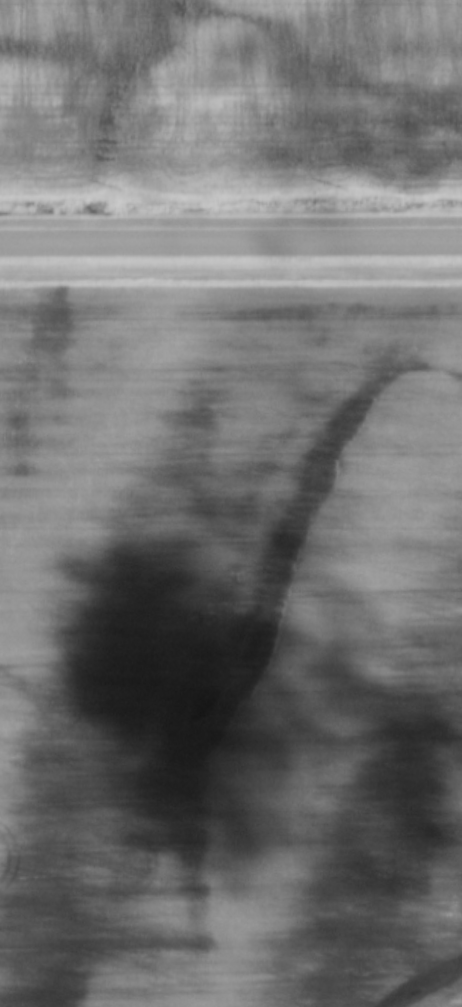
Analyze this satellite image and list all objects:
road: (231, 248)

